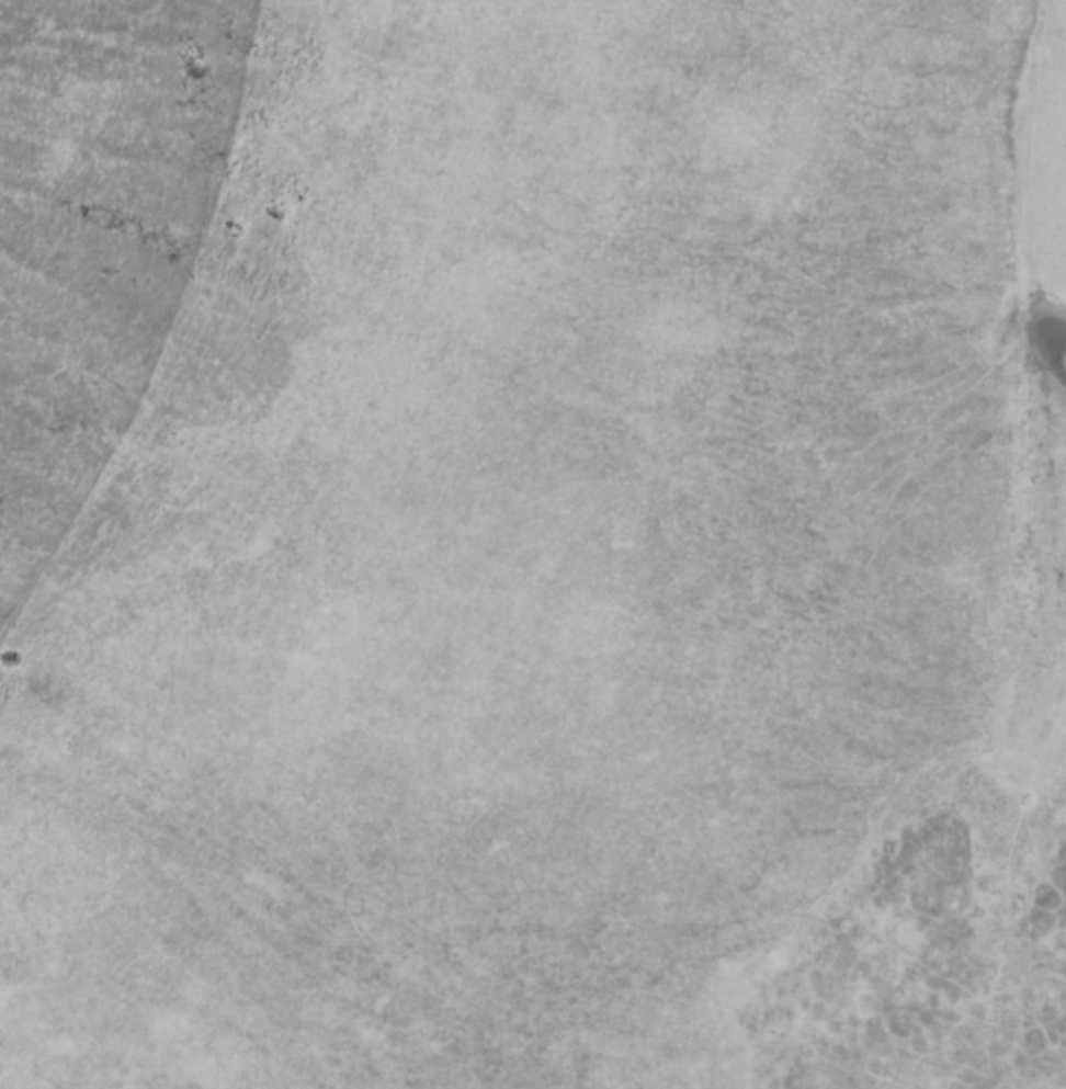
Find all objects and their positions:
crop: (982, 707)

